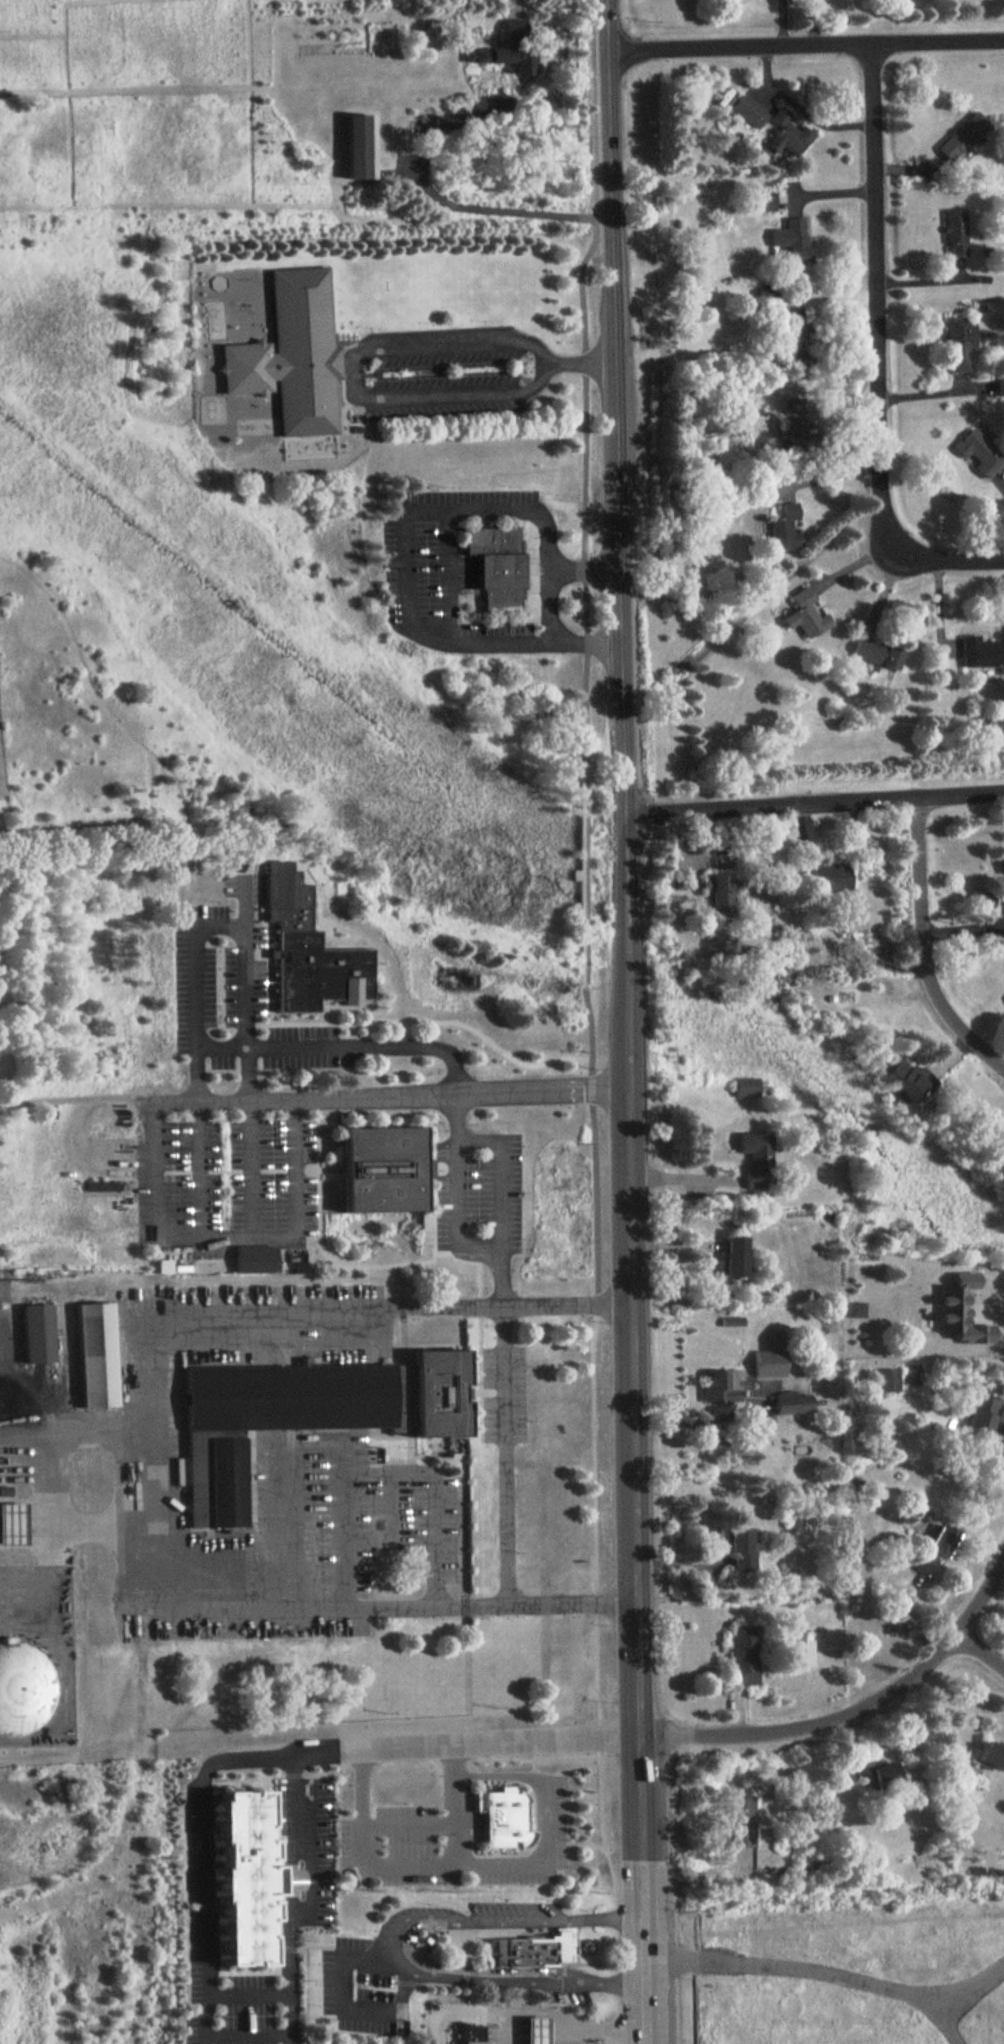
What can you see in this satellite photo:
road: (511, 3)
road: (806, 44)
building: (503, 46)
road: (799, 110)
building: (771, 126)
building: (962, 137)
building: (361, 142)
road: (443, 201)
building: (764, 201)
building: (955, 232)
building: (791, 238)
building: (959, 343)
building: (292, 355)
road: (879, 358)
road: (583, 364)
parking lot: (447, 381)
building: (1001, 388)
road: (377, 398)
road: (614, 405)
building: (791, 422)
building: (978, 452)
road: (581, 508)
building: (782, 523)
building: (497, 566)
parking lot: (447, 570)
road: (408, 571)
road: (583, 571)
road: (548, 576)
road: (447, 577)
building: (804, 612)
road: (584, 643)
road: (586, 651)
building: (877, 653)
building: (980, 654)
road: (814, 800)
building: (827, 872)
building: (719, 894)
building: (983, 895)
road: (219, 923)
road: (925, 942)
road: (624, 947)
building: (318, 972)
parking lot: (239, 999)
flagpole: (332, 1010)
road: (248, 1073)
road: (197, 1074)
road: (453, 1074)
building: (903, 1080)
building: (745, 1083)
road: (388, 1094)
building: (755, 1159)
road: (251, 1167)
road: (200, 1169)
building: (381, 1169)
parking lot: (225, 1174)
road: (682, 1176)
building: (104, 1182)
parking lot: (478, 1186)
road: (627, 1194)
road: (457, 1212)
road: (227, 1235)
building: (256, 1255)
building: (732, 1256)
road: (992, 1304)
road: (564, 1305)
building: (877, 1307)
building: (731, 1318)
building: (37, 1334)
building: (96, 1356)
building: (768, 1362)
building: (722, 1385)
parking lot: (504, 1394)
building: (792, 1401)
building: (307, 1414)
building: (984, 1416)
road: (694, 1420)
road: (78, 1439)
road: (503, 1454)
road: (156, 1459)
building: (5, 1488)
road: (391, 1517)
building: (12, 1520)
road: (633, 1520)
road: (78, 1523)
road: (277, 1524)
road: (340, 1527)
road: (434, 1536)
parking lot: (312, 1542)
building: (739, 1549)
building: (933, 1550)
road: (571, 1602)
road: (592, 1606)
road: (983, 1649)
building: (798, 1650)
building: (743, 1654)
building: (24, 1683)
road: (849, 1712)
road: (462, 1742)
building: (992, 1756)
road: (317, 1757)
road: (235, 1763)
road: (497, 1775)
building: (877, 1777)
road: (452, 1802)
road: (298, 1811)
building: (503, 1816)
building: (741, 1818)
parking lot: (559, 1820)
parking lot: (411, 1831)
parking lot: (309, 1833)
parking lot: (346, 1844)
road: (427, 1863)
road: (694, 1869)
building: (238, 1872)
building: (281, 1882)
road: (312, 1888)
road: (642, 1890)
parking lot: (514, 1909)
road: (205, 1922)
parking lot: (192, 1924)
road: (406, 1933)
road: (289, 1939)
road: (387, 1943)
building: (531, 1950)
road: (469, 1969)
road: (619, 1975)
road: (830, 1975)
parking lot: (360, 1995)
parking lot: (564, 1997)
road: (342, 2008)
road: (455, 2011)
parking lot: (251, 2012)
road: (526, 2014)
road: (949, 2024)
road: (600, 2029)
building: (533, 2030)
building: (470, 2033)
road: (528, 2038)
road: (556, 2041)
road: (565, 2041)

